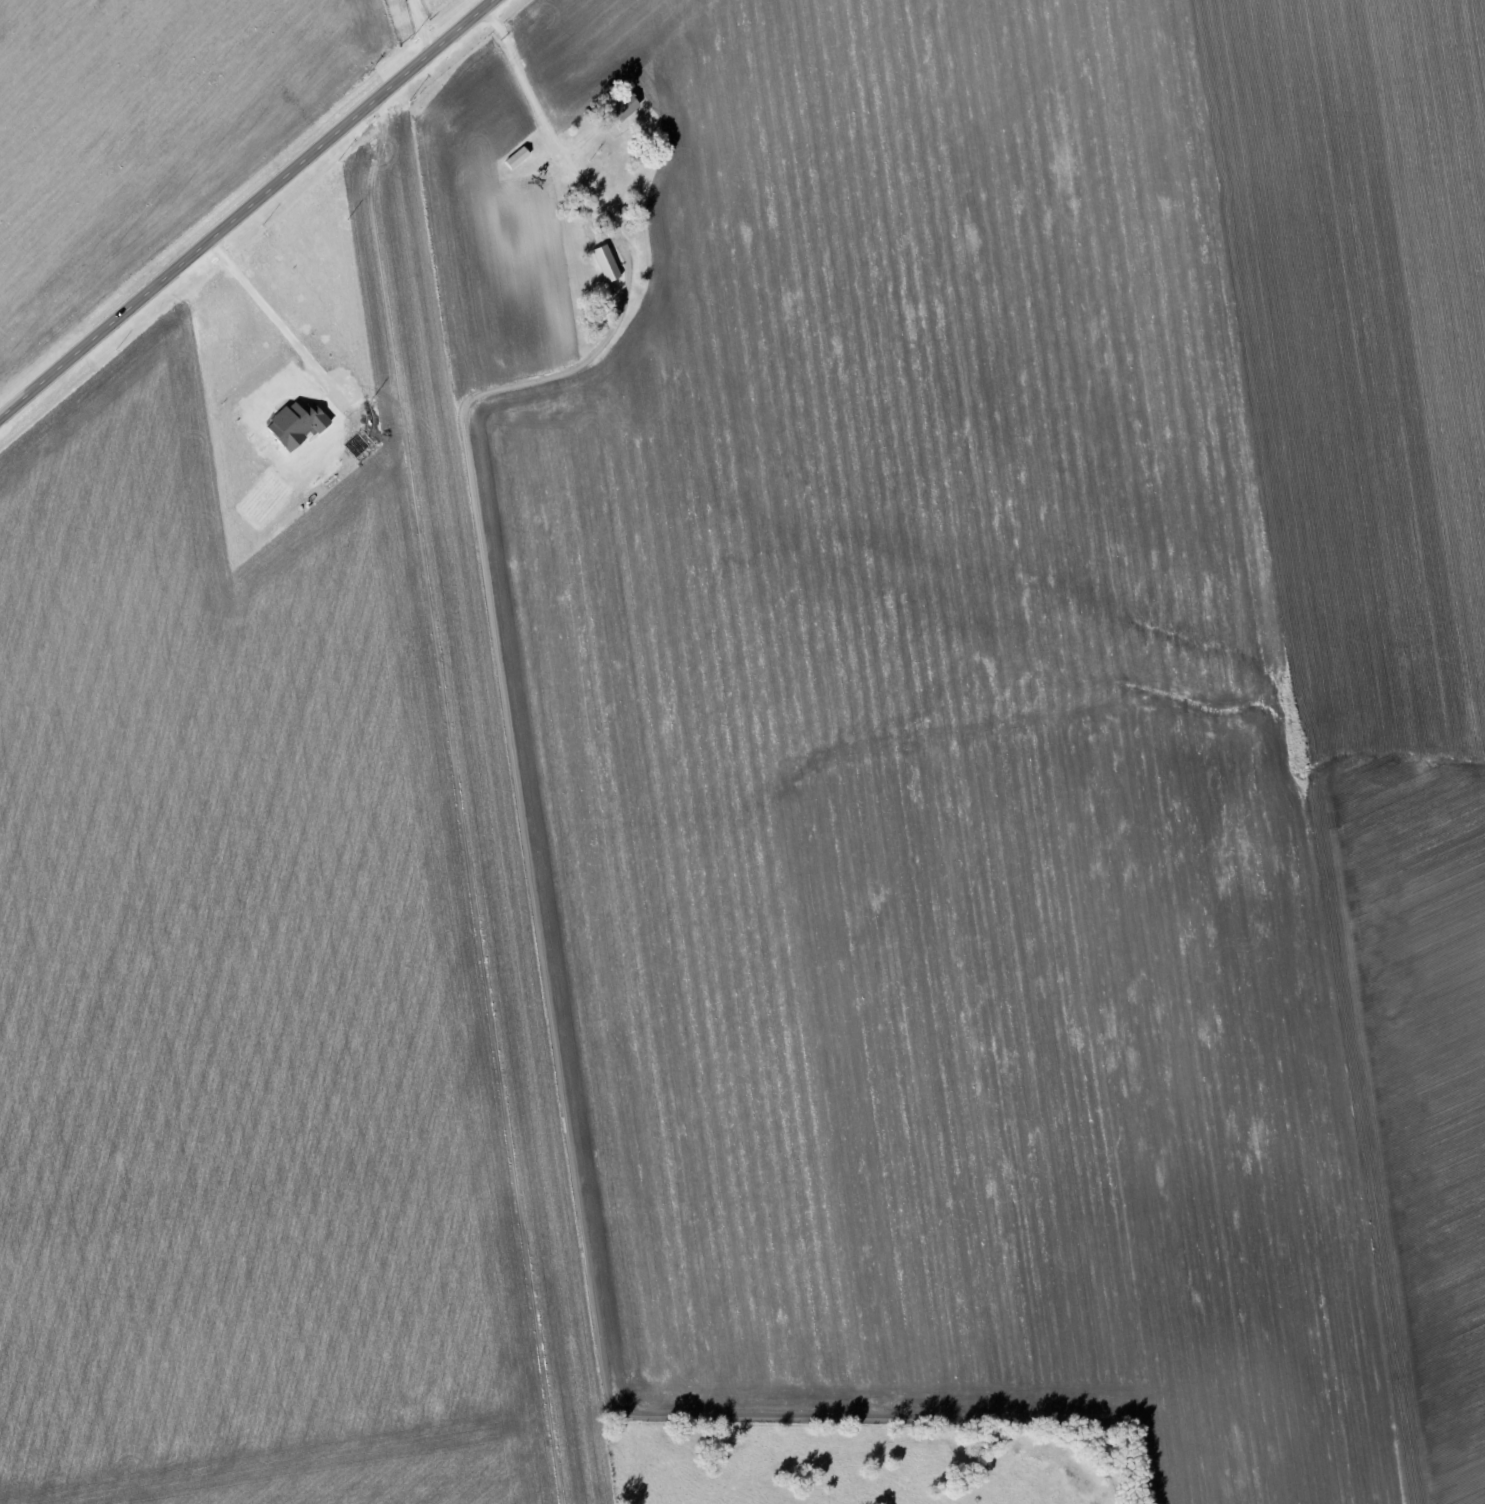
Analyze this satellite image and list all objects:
road: (417, 29)
building: (618, 109)
road: (551, 151)
road: (248, 209)
building: (602, 263)
road: (272, 317)
building: (299, 423)

